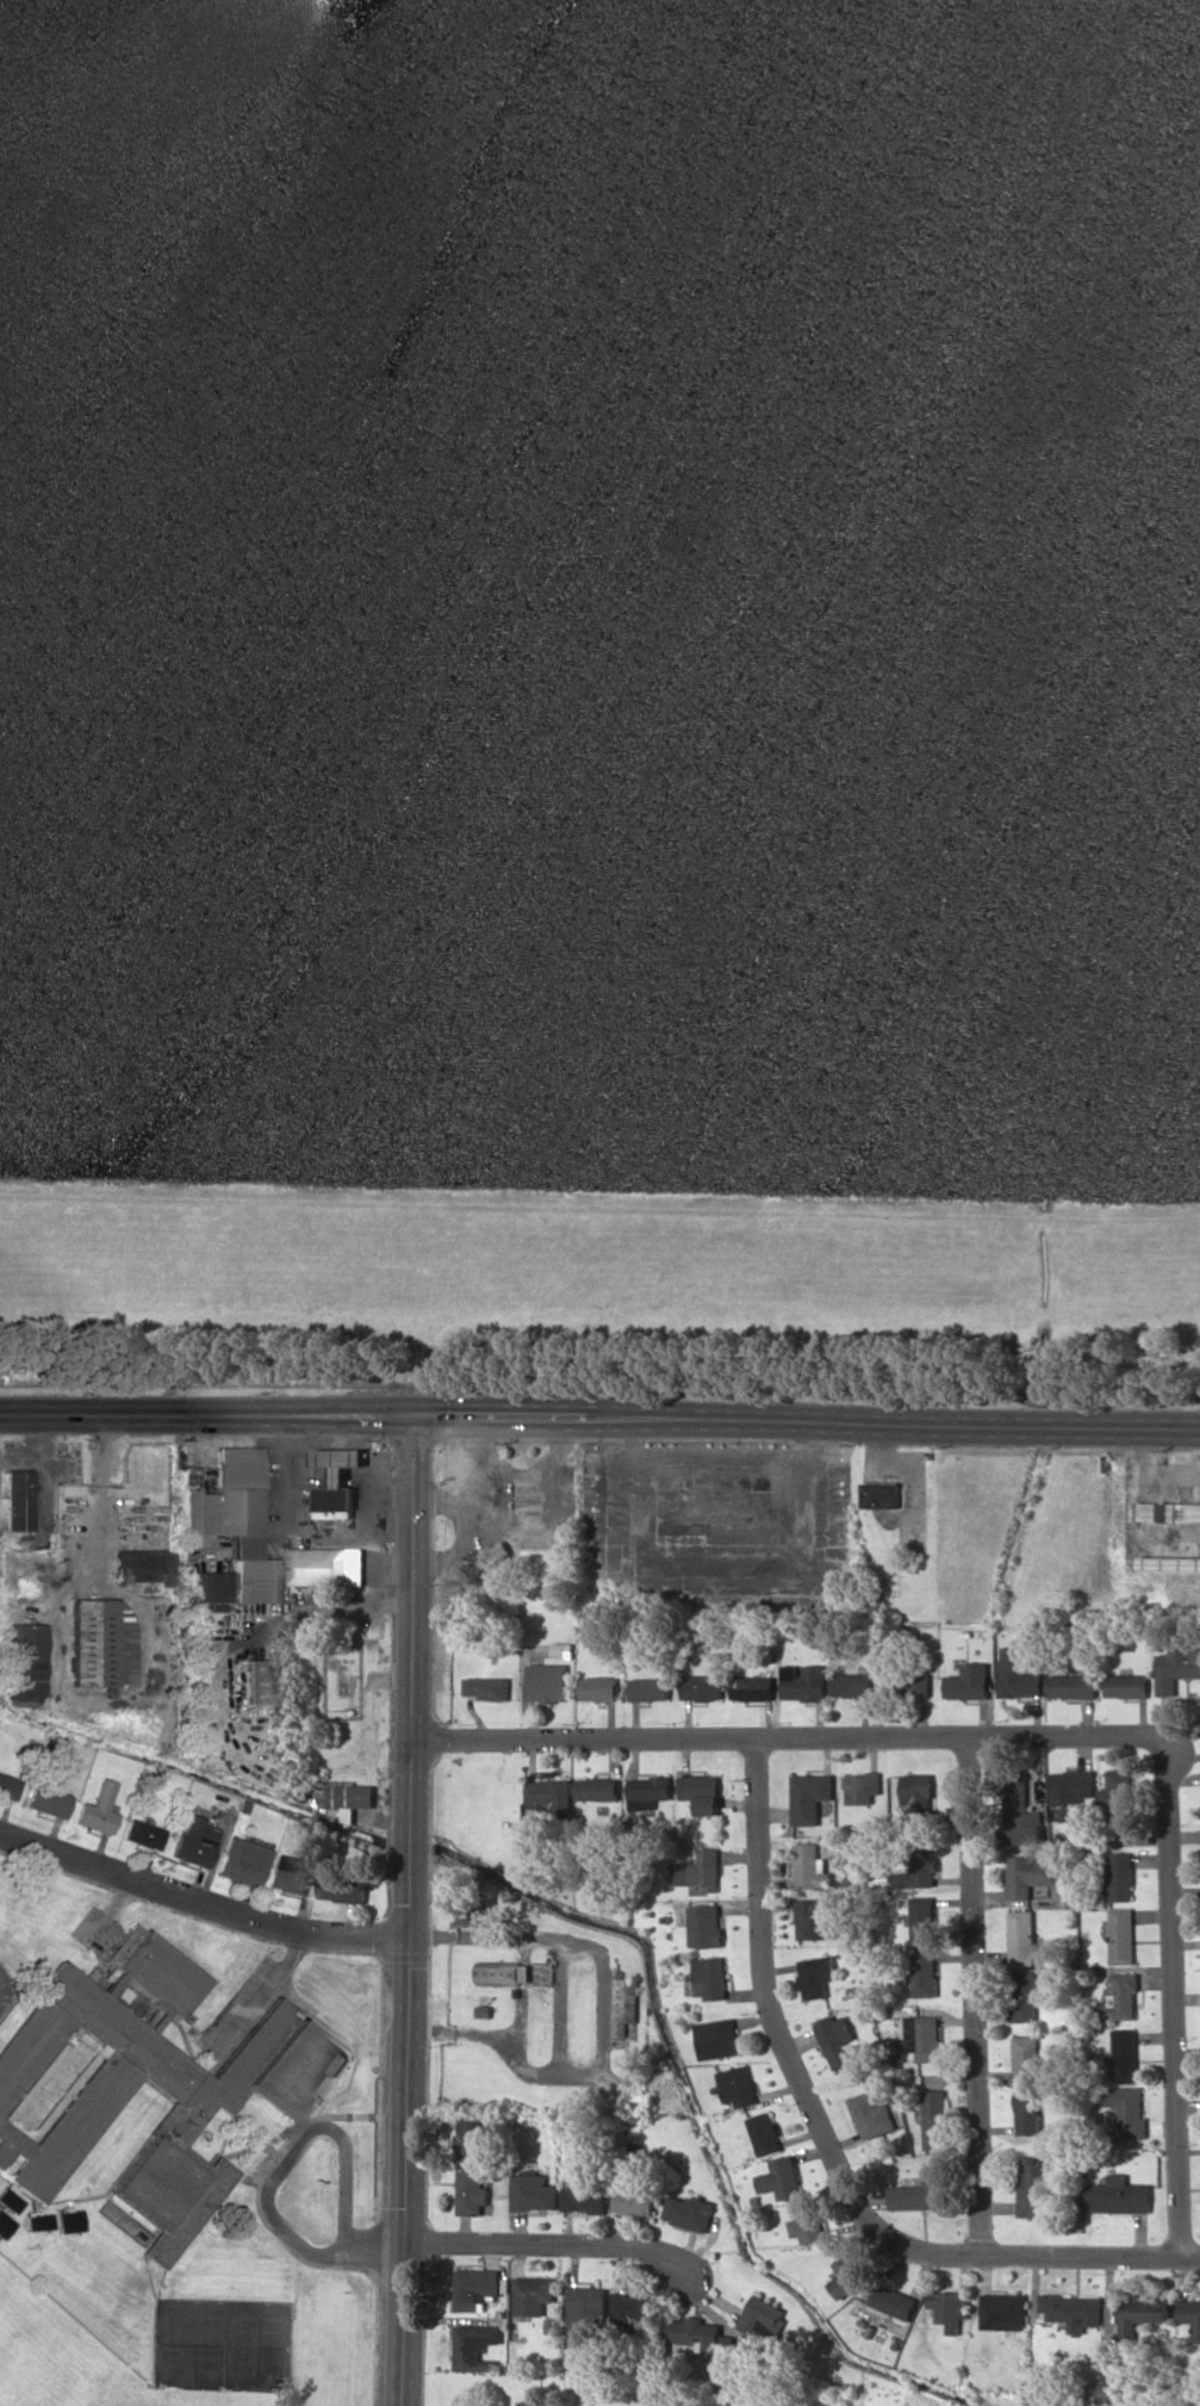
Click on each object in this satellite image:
road: (599, 1418)
building: (879, 1494)
building: (17, 1500)
building: (1169, 1511)
building: (236, 1523)
building: (495, 1554)
building: (143, 1565)
building: (328, 1565)
building: (207, 1586)
building: (100, 1642)
building: (25, 1661)
building: (1177, 1668)
building: (1016, 1674)
building: (259, 1681)
building: (547, 1682)
building: (803, 1682)
building: (968, 1682)
building: (851, 1685)
building: (918, 1685)
building: (1071, 1686)
building: (1126, 1686)
building: (486, 1687)
building: (702, 1687)
building: (752, 1687)
building: (597, 1688)
building: (648, 1688)
road: (1045, 1736)
building: (8, 1786)
building: (862, 1788)
building: (597, 1790)
building: (648, 1791)
building: (702, 1792)
building: (1070, 1792)
building: (552, 1794)
building: (352, 1796)
building: (809, 1797)
building: (915, 1797)
building: (1117, 1797)
building: (46, 1799)
building: (1018, 1799)
building: (97, 1809)
building: (141, 1833)
building: (1021, 1835)
building: (193, 1843)
building: (241, 1861)
building: (810, 1866)
building: (700, 1871)
building: (1030, 1873)
building: (290, 1874)
building: (914, 1875)
building: (1120, 1875)
building: (344, 1890)
road: (200, 1903)
road: (409, 1910)
building: (815, 1918)
building: (924, 1918)
building: (702, 1927)
building: (1120, 1935)
building: (1021, 1936)
building: (505, 1973)
building: (926, 1974)
building: (816, 1976)
building: (710, 1977)
road: (976, 1995)
building: (1024, 1996)
building: (1119, 1998)
building: (626, 2005)
building: (925, 2036)
building: (717, 2039)
building: (837, 2039)
building: (1124, 2055)
building: (1026, 2057)
building: (738, 2085)
building: (63, 2094)
building: (1127, 2110)
building: (1027, 2112)
building: (870, 2115)
building: (934, 2119)
building: (765, 2133)
building: (472, 2139)
road: (828, 2147)
building: (781, 2178)
building: (1033, 2187)
building: (473, 2193)
building: (534, 2193)
building: (585, 2194)
building: (919, 2195)
building: (1118, 2195)
building: (8, 2199)
building: (636, 2201)
building: (689, 2212)
building: (35, 2220)
building: (66, 2220)
building: (808, 2221)
building: (4, 2225)
road: (344, 2251)
building: (847, 2277)
building: (478, 2288)
building: (534, 2294)
building: (894, 2301)
building: (586, 2307)
building: (635, 2307)
building: (950, 2307)
building: (1071, 2309)
building: (1003, 2311)
building: (1190, 2313)
building: (1143, 2314)
building: (764, 2315)
building: (700, 2334)
building: (477, 2346)
building: (530, 2404)

